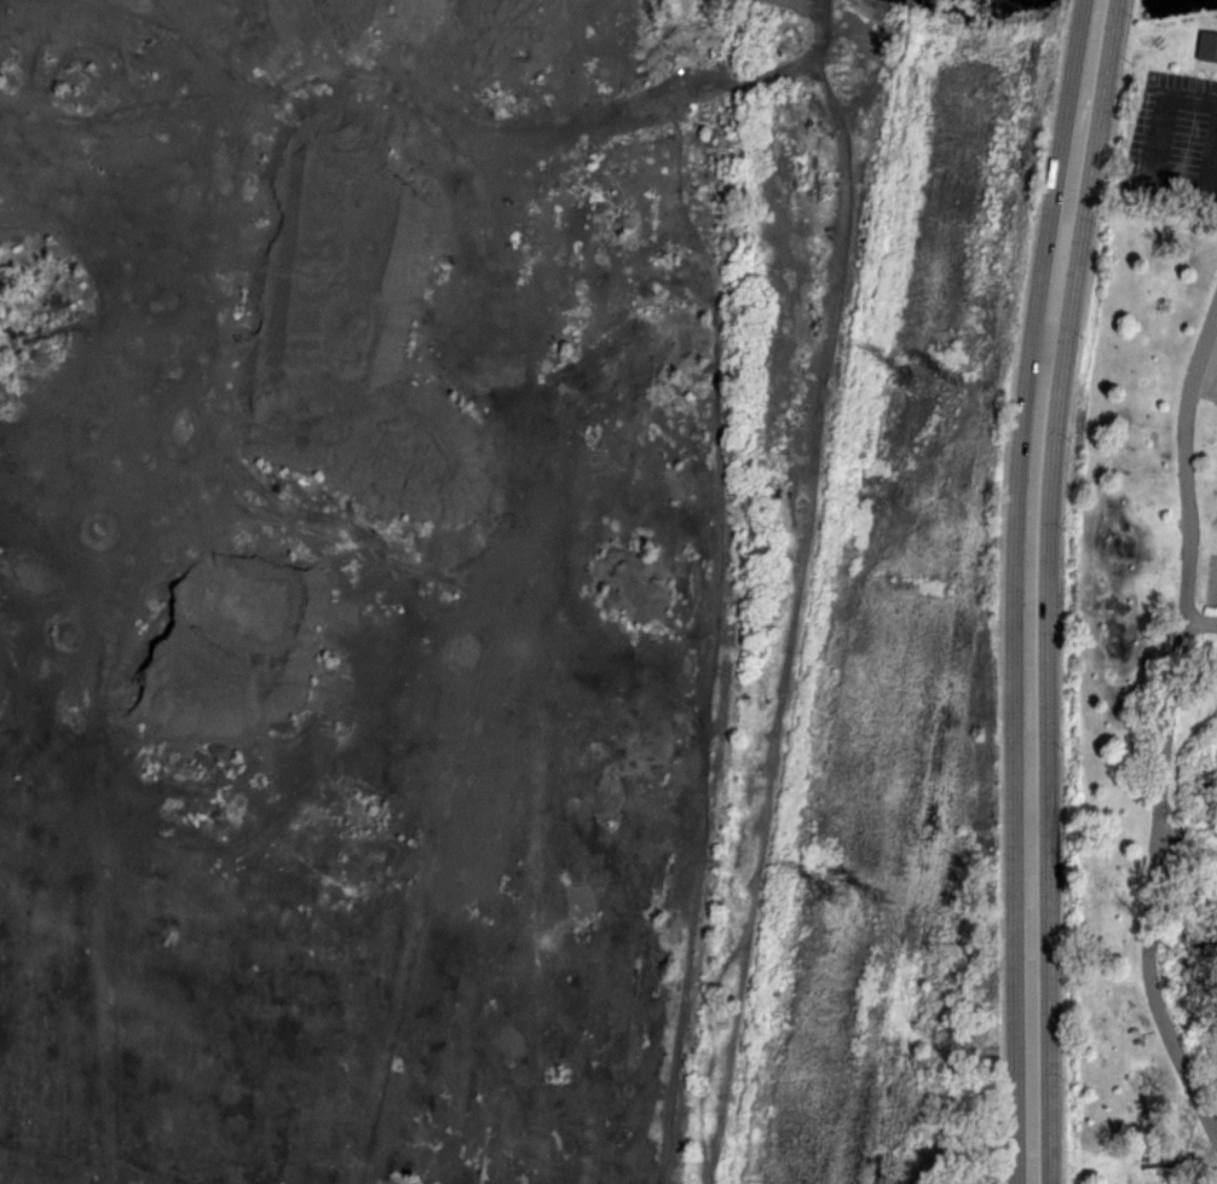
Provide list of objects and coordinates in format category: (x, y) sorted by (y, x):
road: (909, 2)
building: (1207, 47)
parking lot: (1173, 140)
road: (1164, 144)
road: (1206, 160)
road: (1206, 202)
power tower: (909, 374)
power tower: (959, 379)
road: (1032, 589)
road: (818, 595)
parking lot: (1211, 595)
road: (1201, 619)
park: (1144, 631)
road: (1165, 721)
power tower: (824, 886)
power tower: (875, 895)

